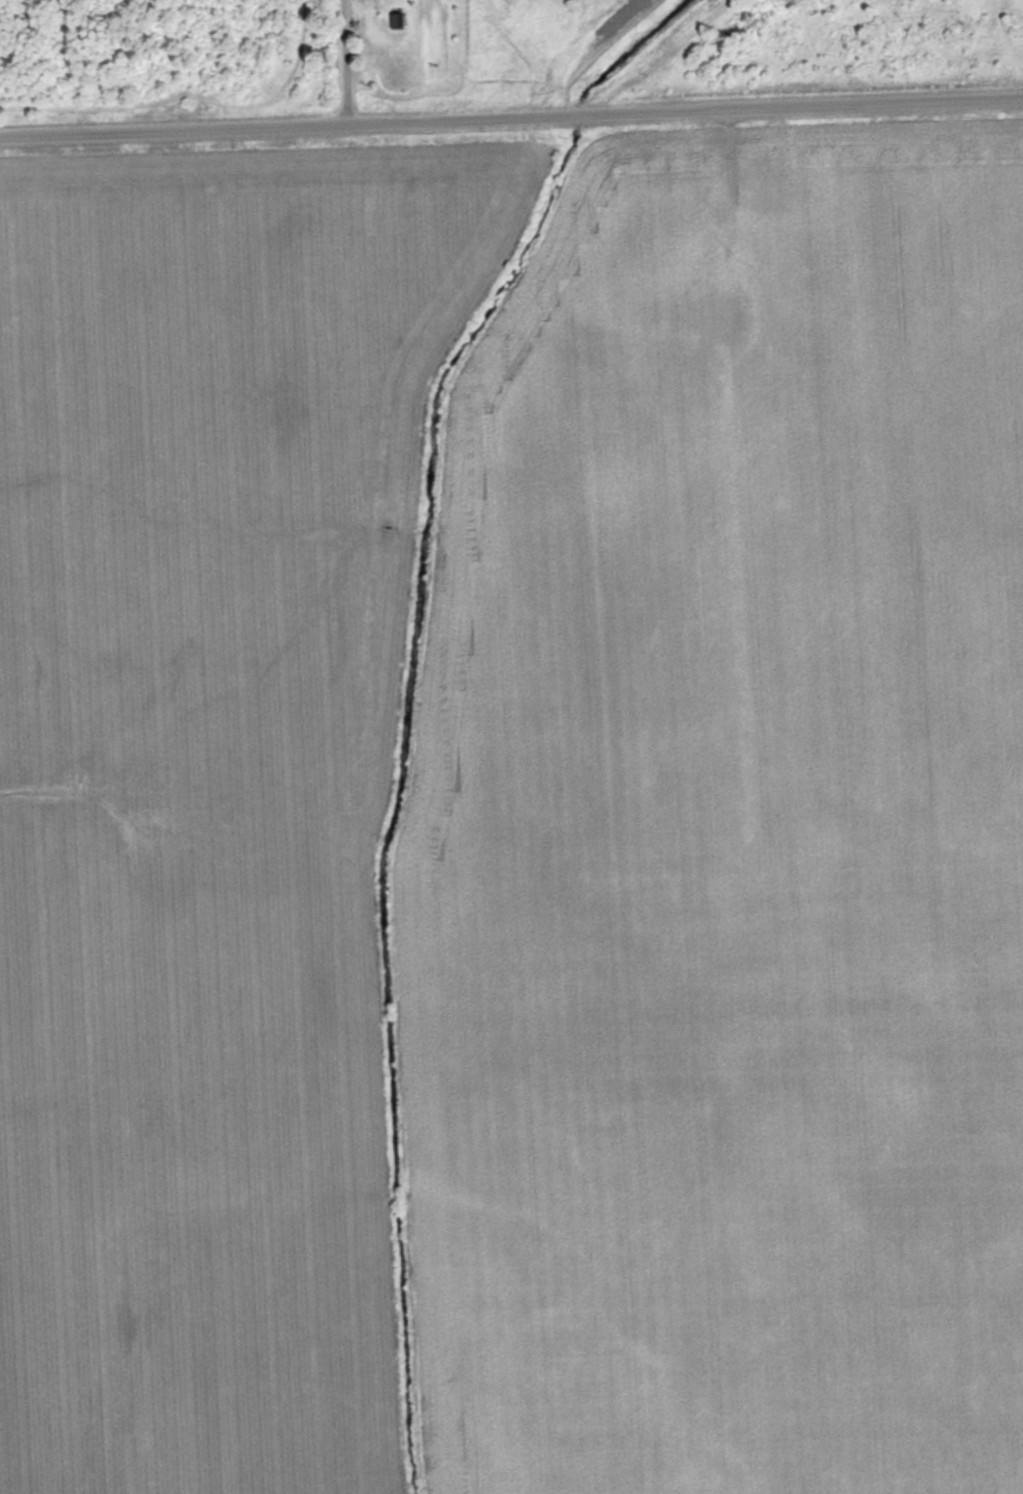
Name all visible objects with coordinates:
road: (350, 58)
road: (511, 111)

